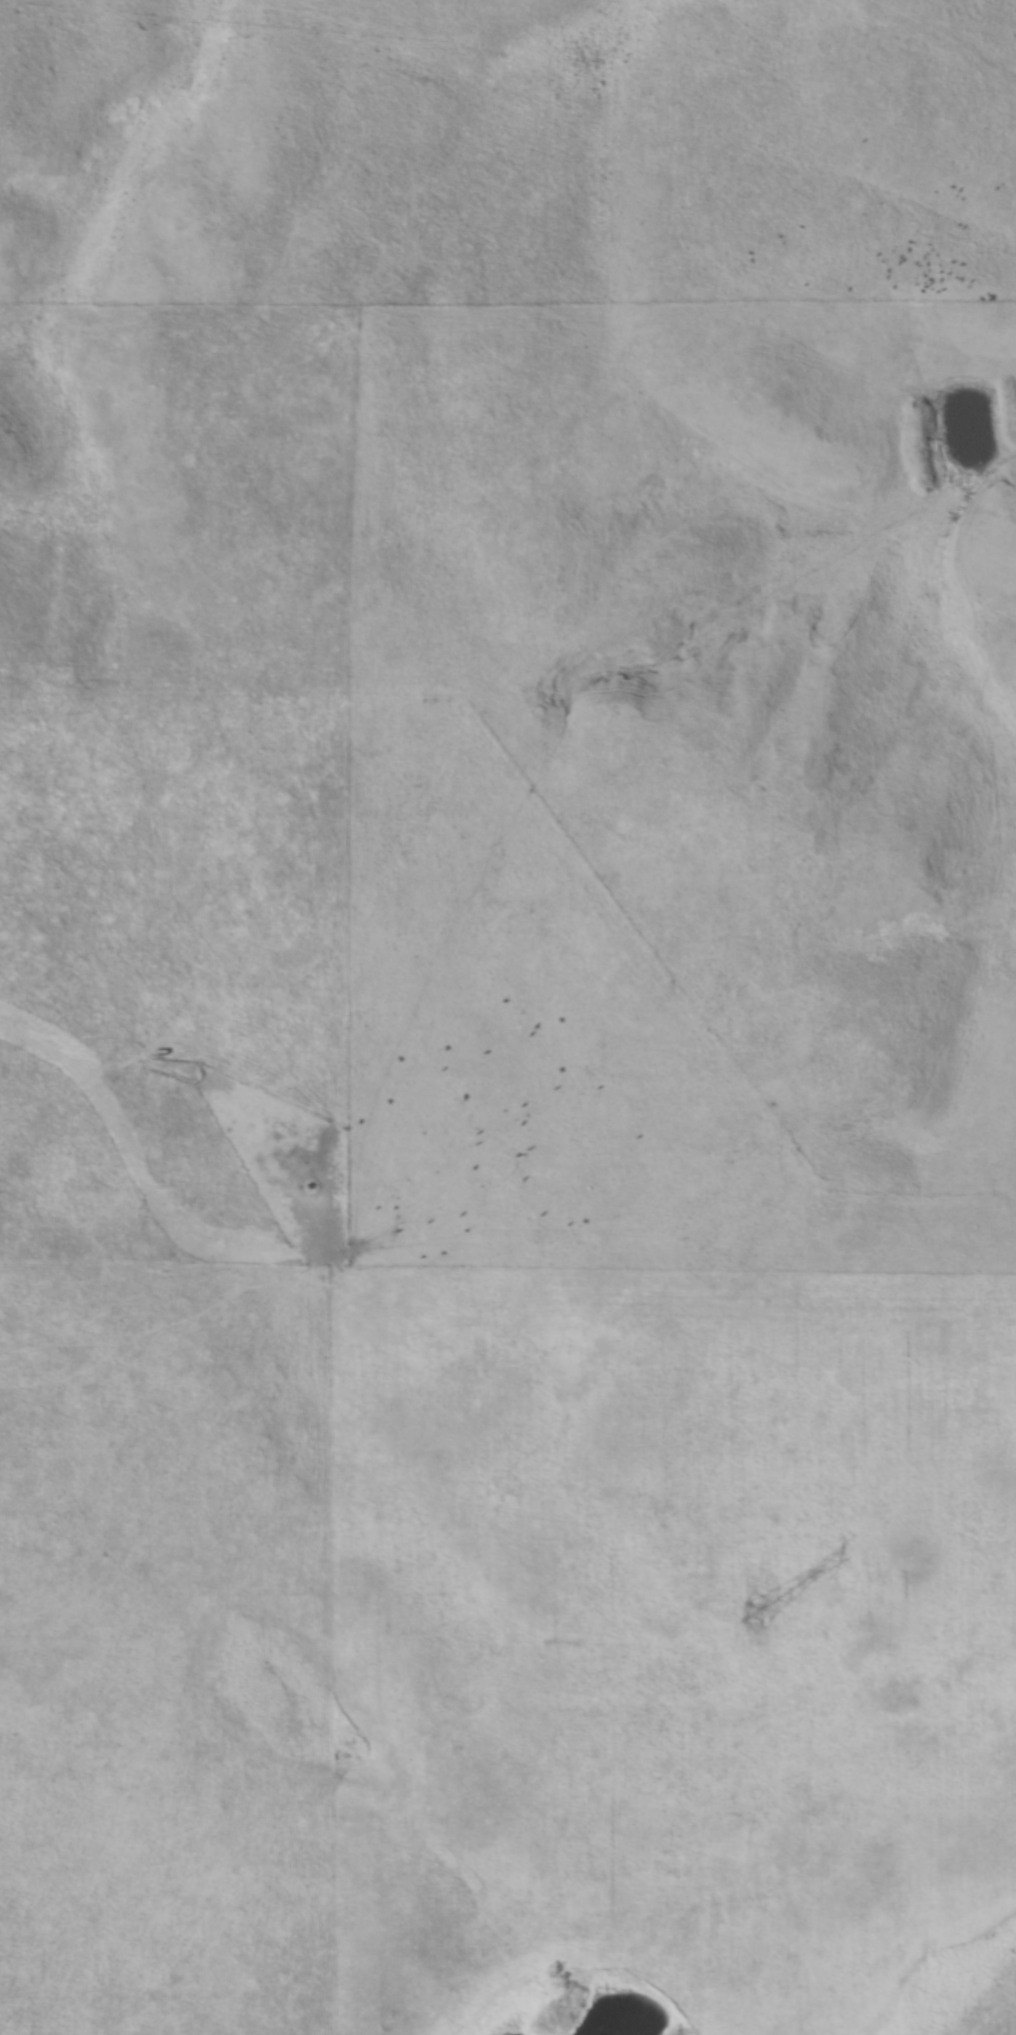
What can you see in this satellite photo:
power tower: (761, 1600)

